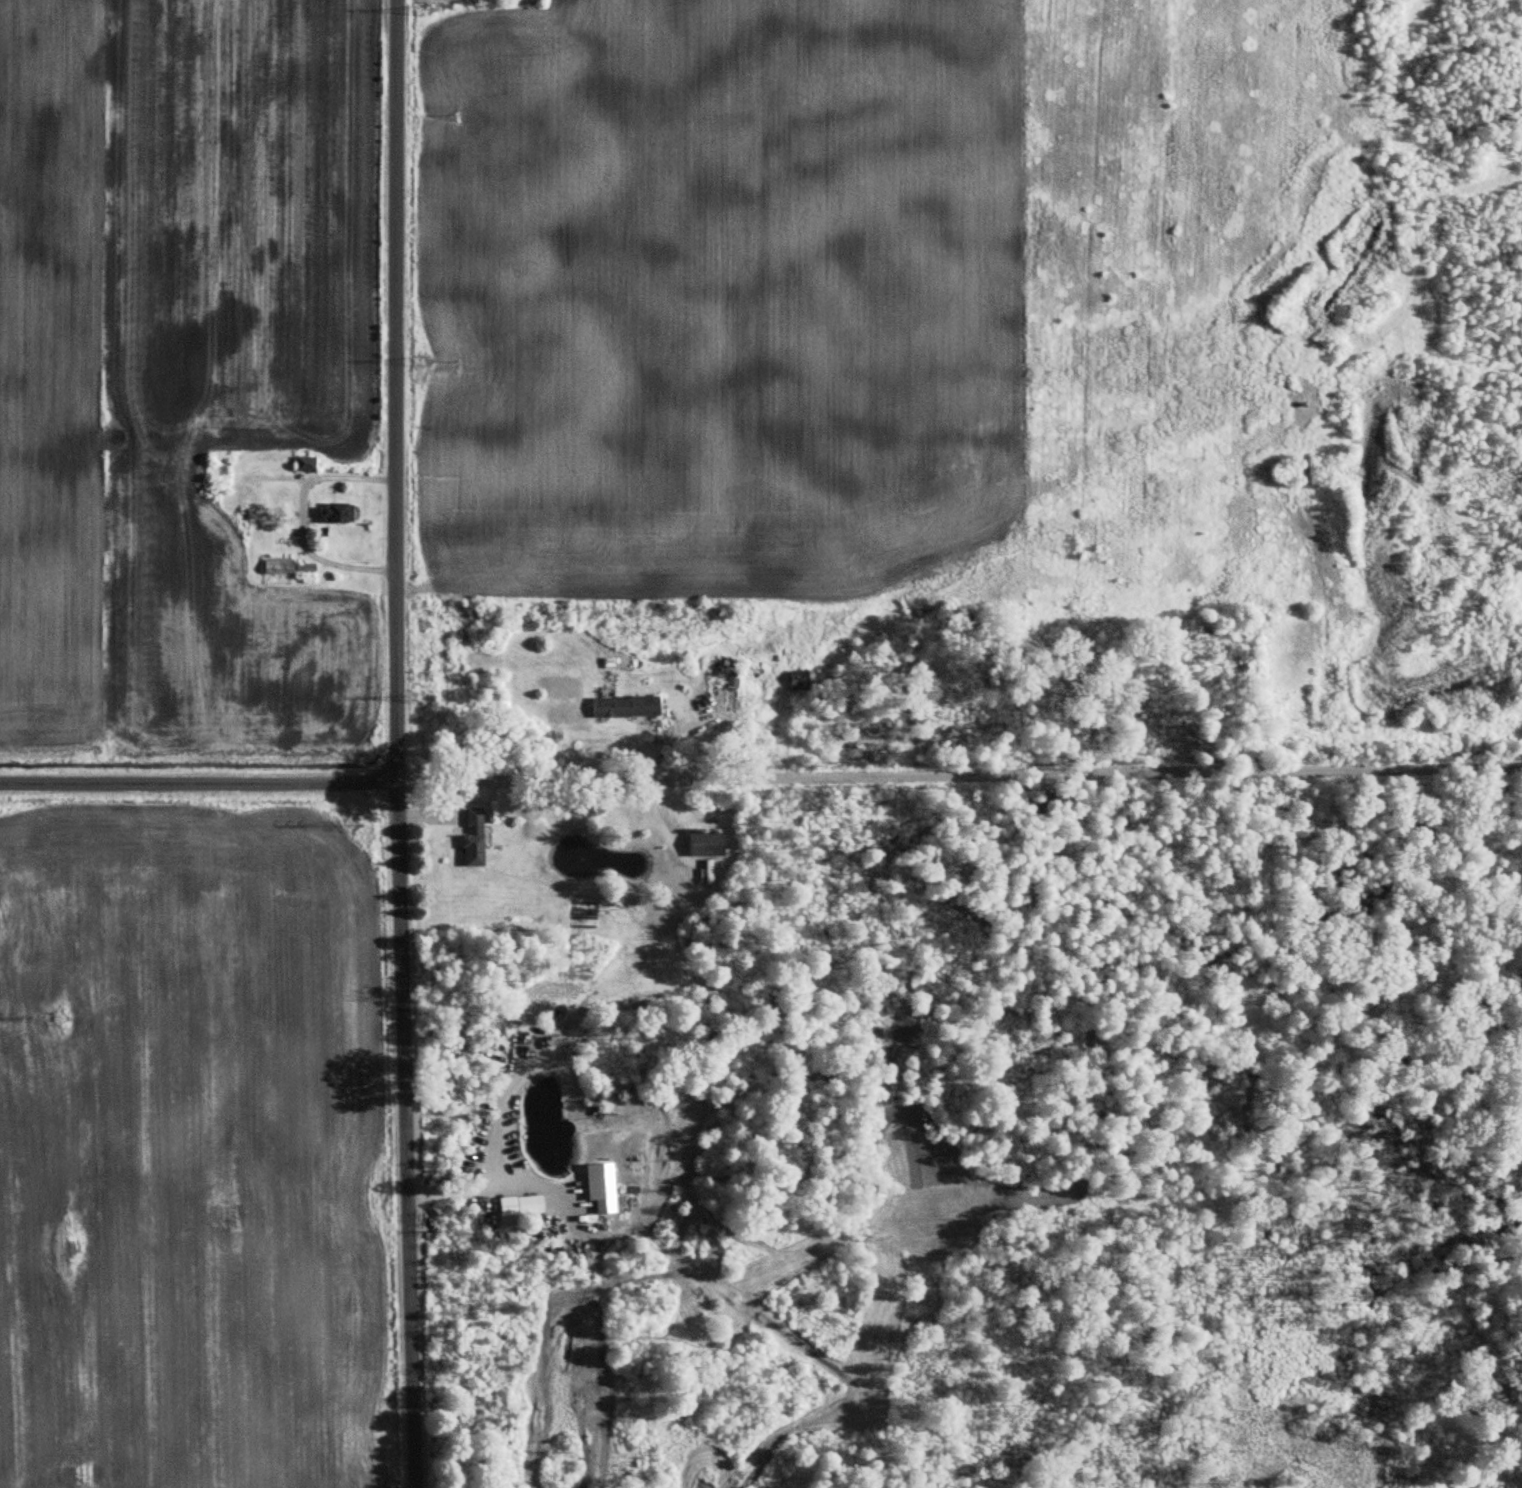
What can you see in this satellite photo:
power tower: (421, 5)
power tower: (421, 360)
building: (303, 463)
building: (216, 474)
building: (334, 512)
road: (303, 520)
building: (293, 567)
building: (794, 679)
building: (730, 680)
building: (622, 706)
road: (398, 744)
road: (761, 776)
power tower: (348, 825)
building: (471, 836)
building: (703, 844)
power tower: (58, 1020)
road: (493, 1183)
building: (600, 1188)
building: (525, 1204)

